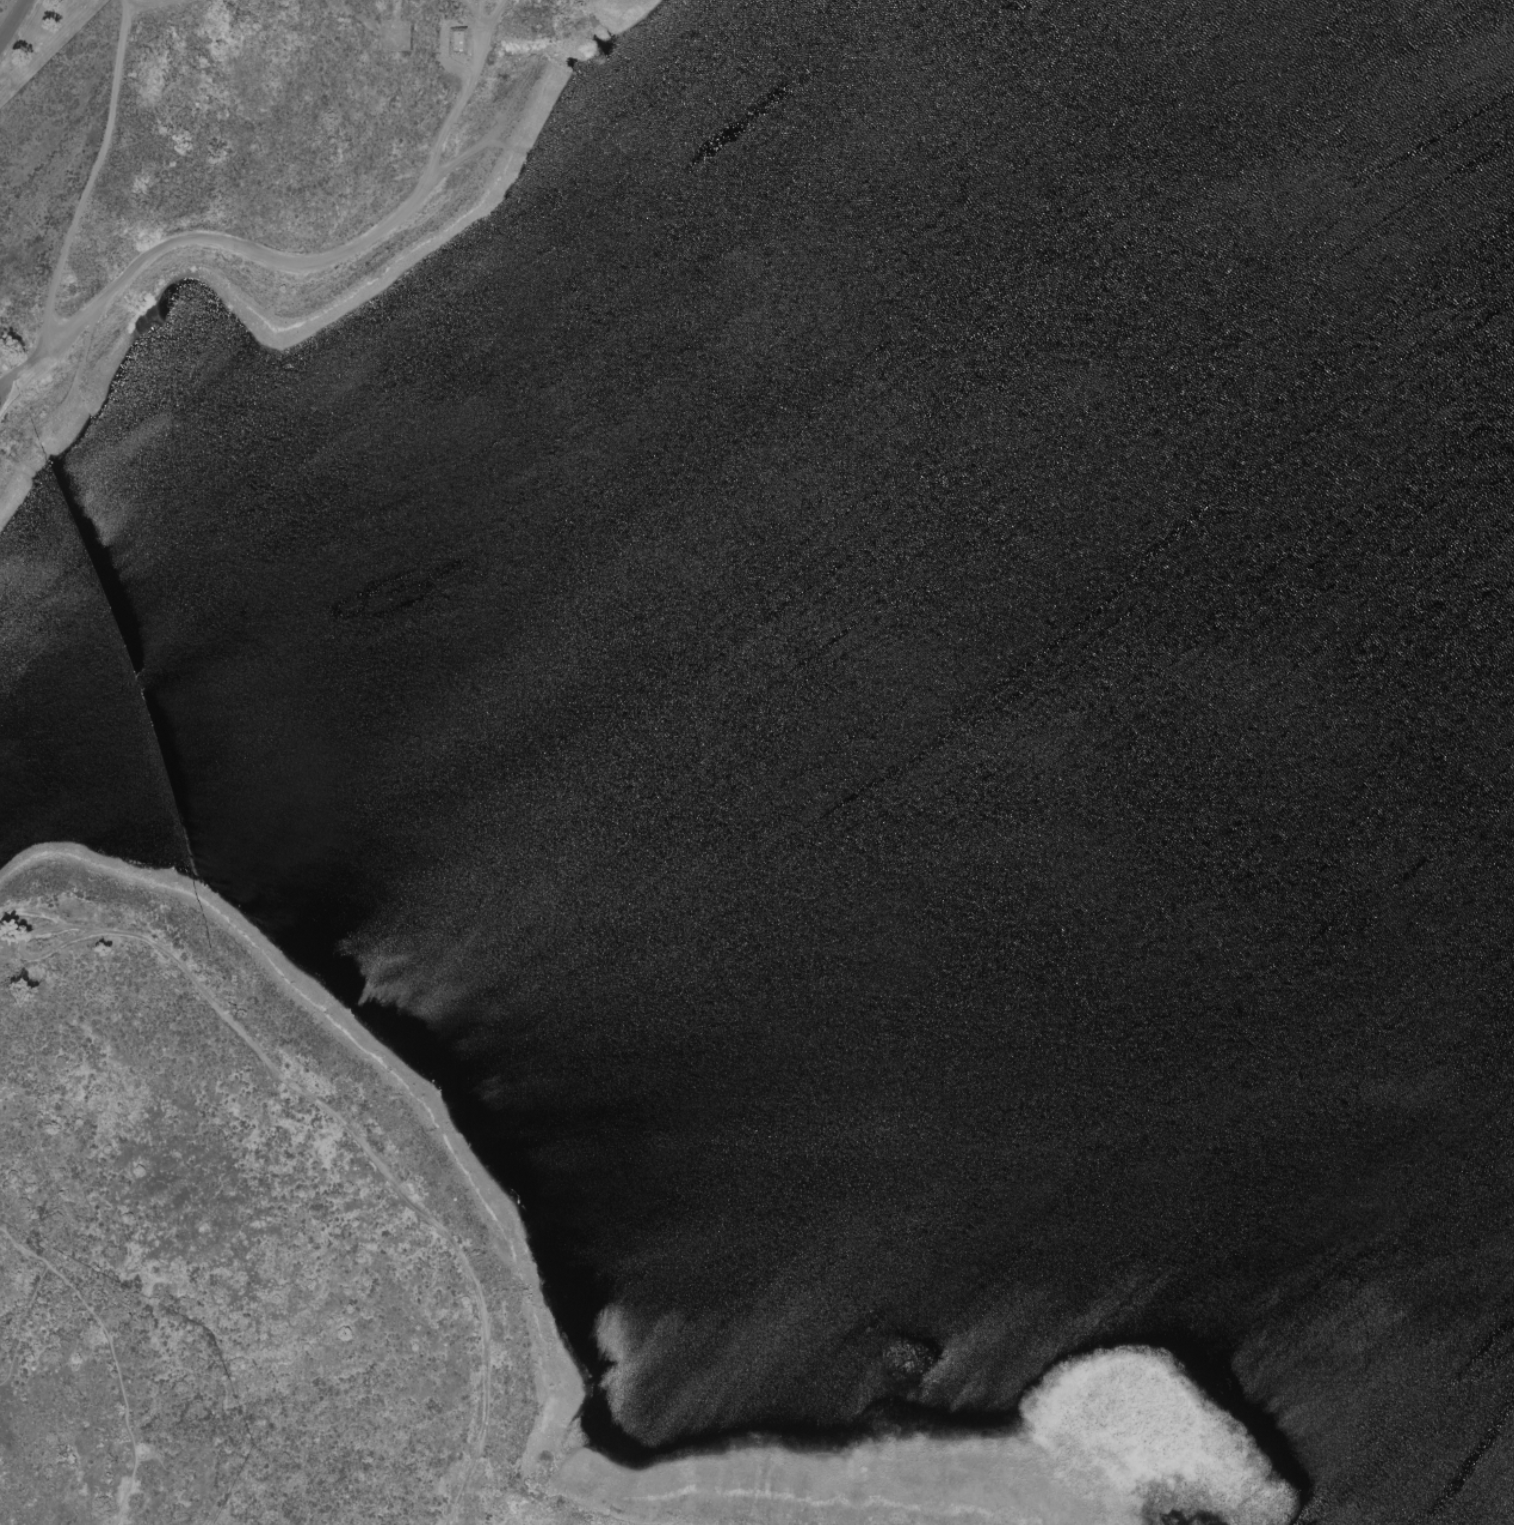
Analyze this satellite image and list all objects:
road: (150, 5)
road: (14, 20)
building: (458, 40)
road: (480, 43)
road: (112, 1358)

